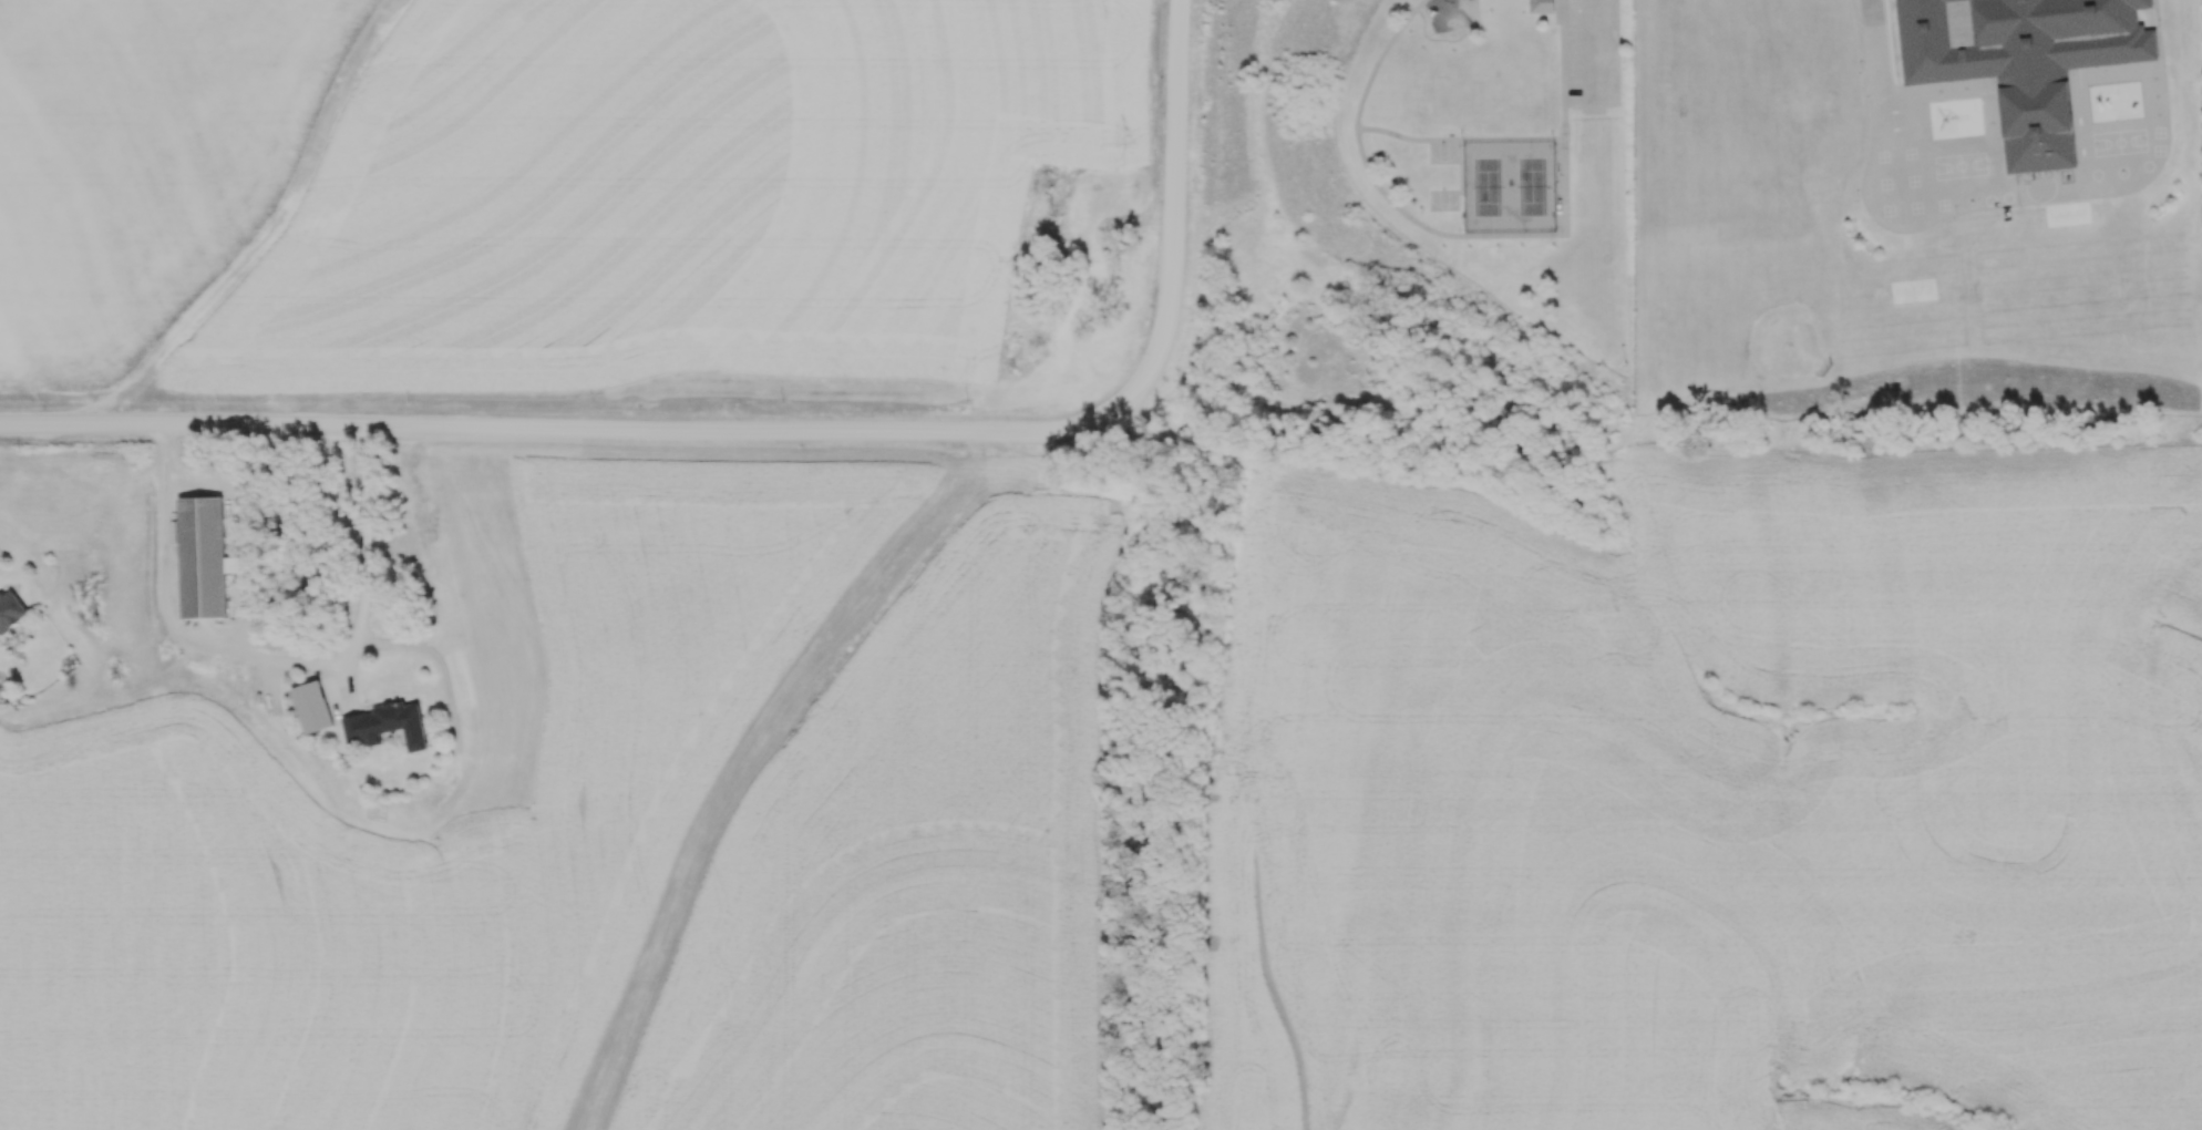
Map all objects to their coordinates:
road: (1547, 1)
building: (1541, 6)
parking lot: (1592, 53)
road: (1593, 53)
building: (2018, 60)
road: (1884, 94)
road: (1459, 140)
crop: (531, 186)
park: (1509, 187)
park: (1429, 206)
road: (1473, 236)
park: (1787, 343)
street lamp: (1618, 370)
road: (773, 433)
road: (164, 449)
building: (203, 554)
building: (13, 610)
road: (296, 670)
building: (383, 725)
crop: (1717, 794)
crop: (662, 822)

